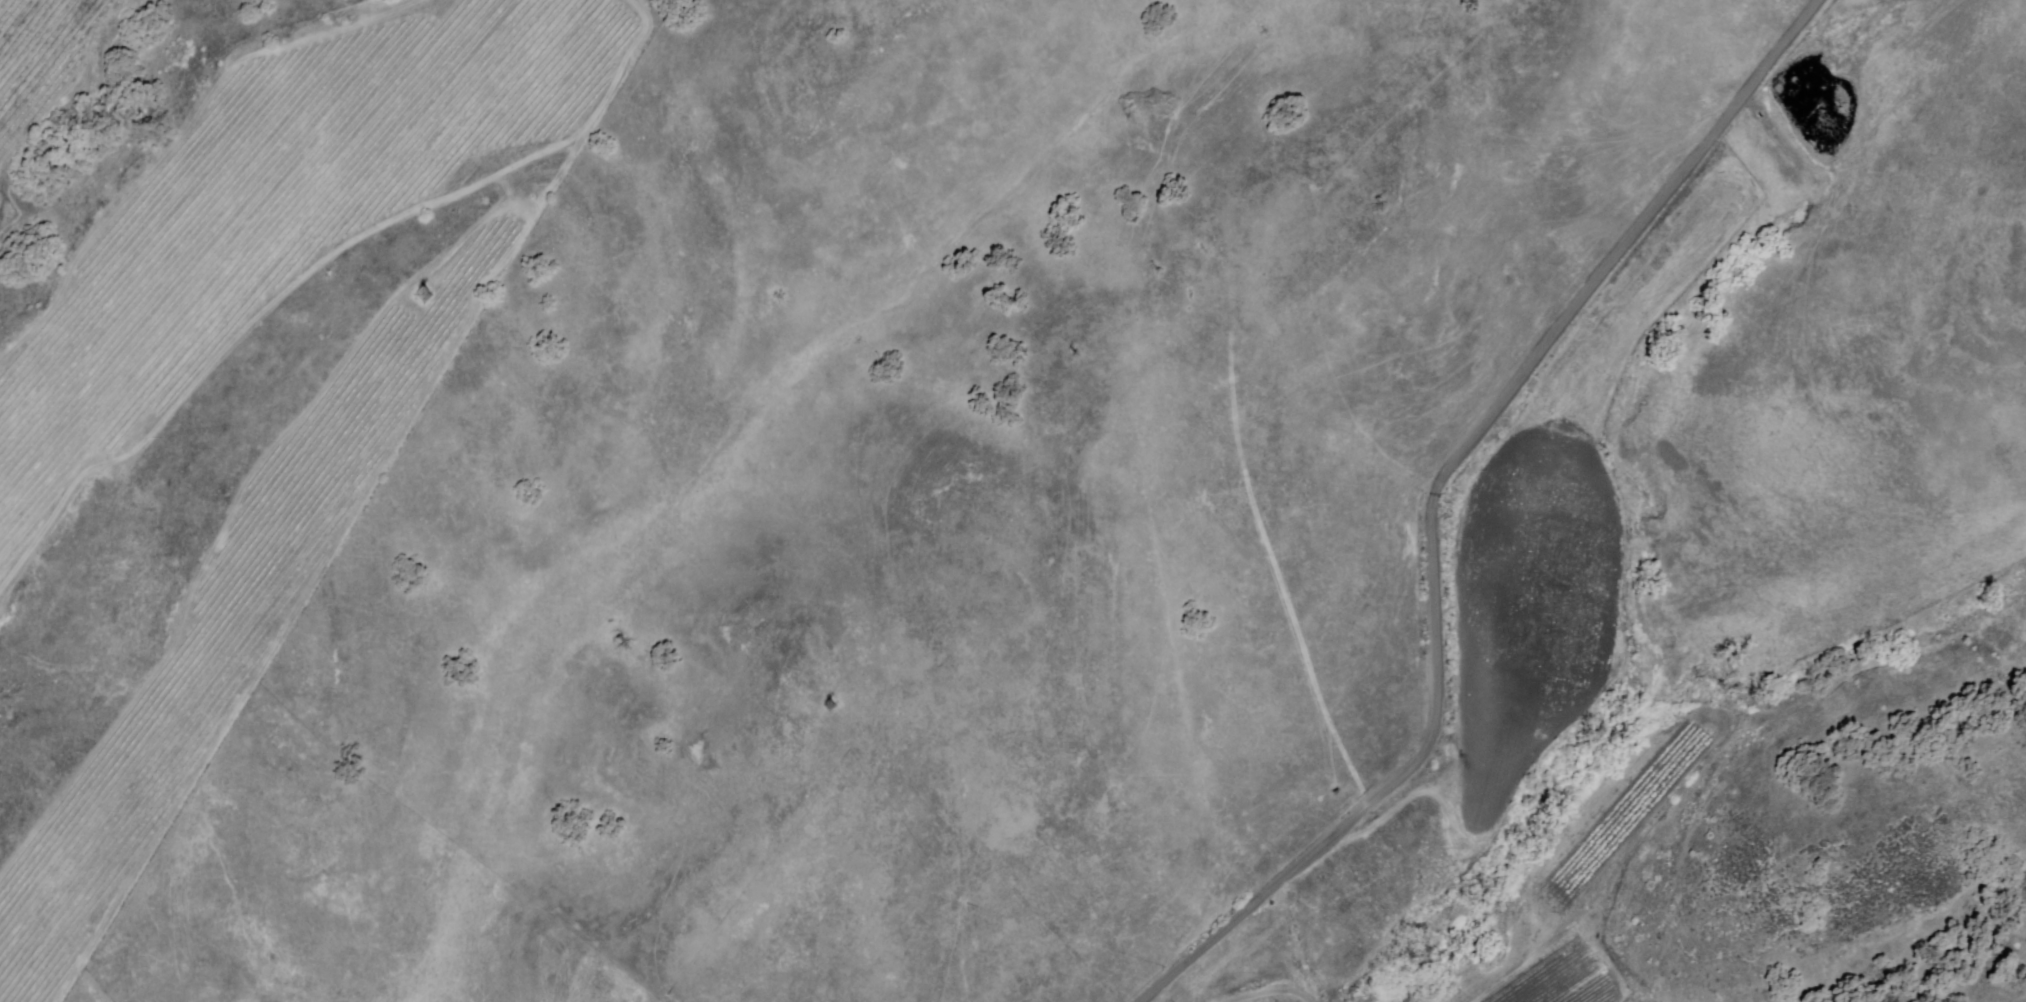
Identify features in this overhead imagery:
power tower: (427, 295)
road: (1430, 500)
crop: (1518, 612)
power tower: (840, 711)
crop: (1587, 881)

